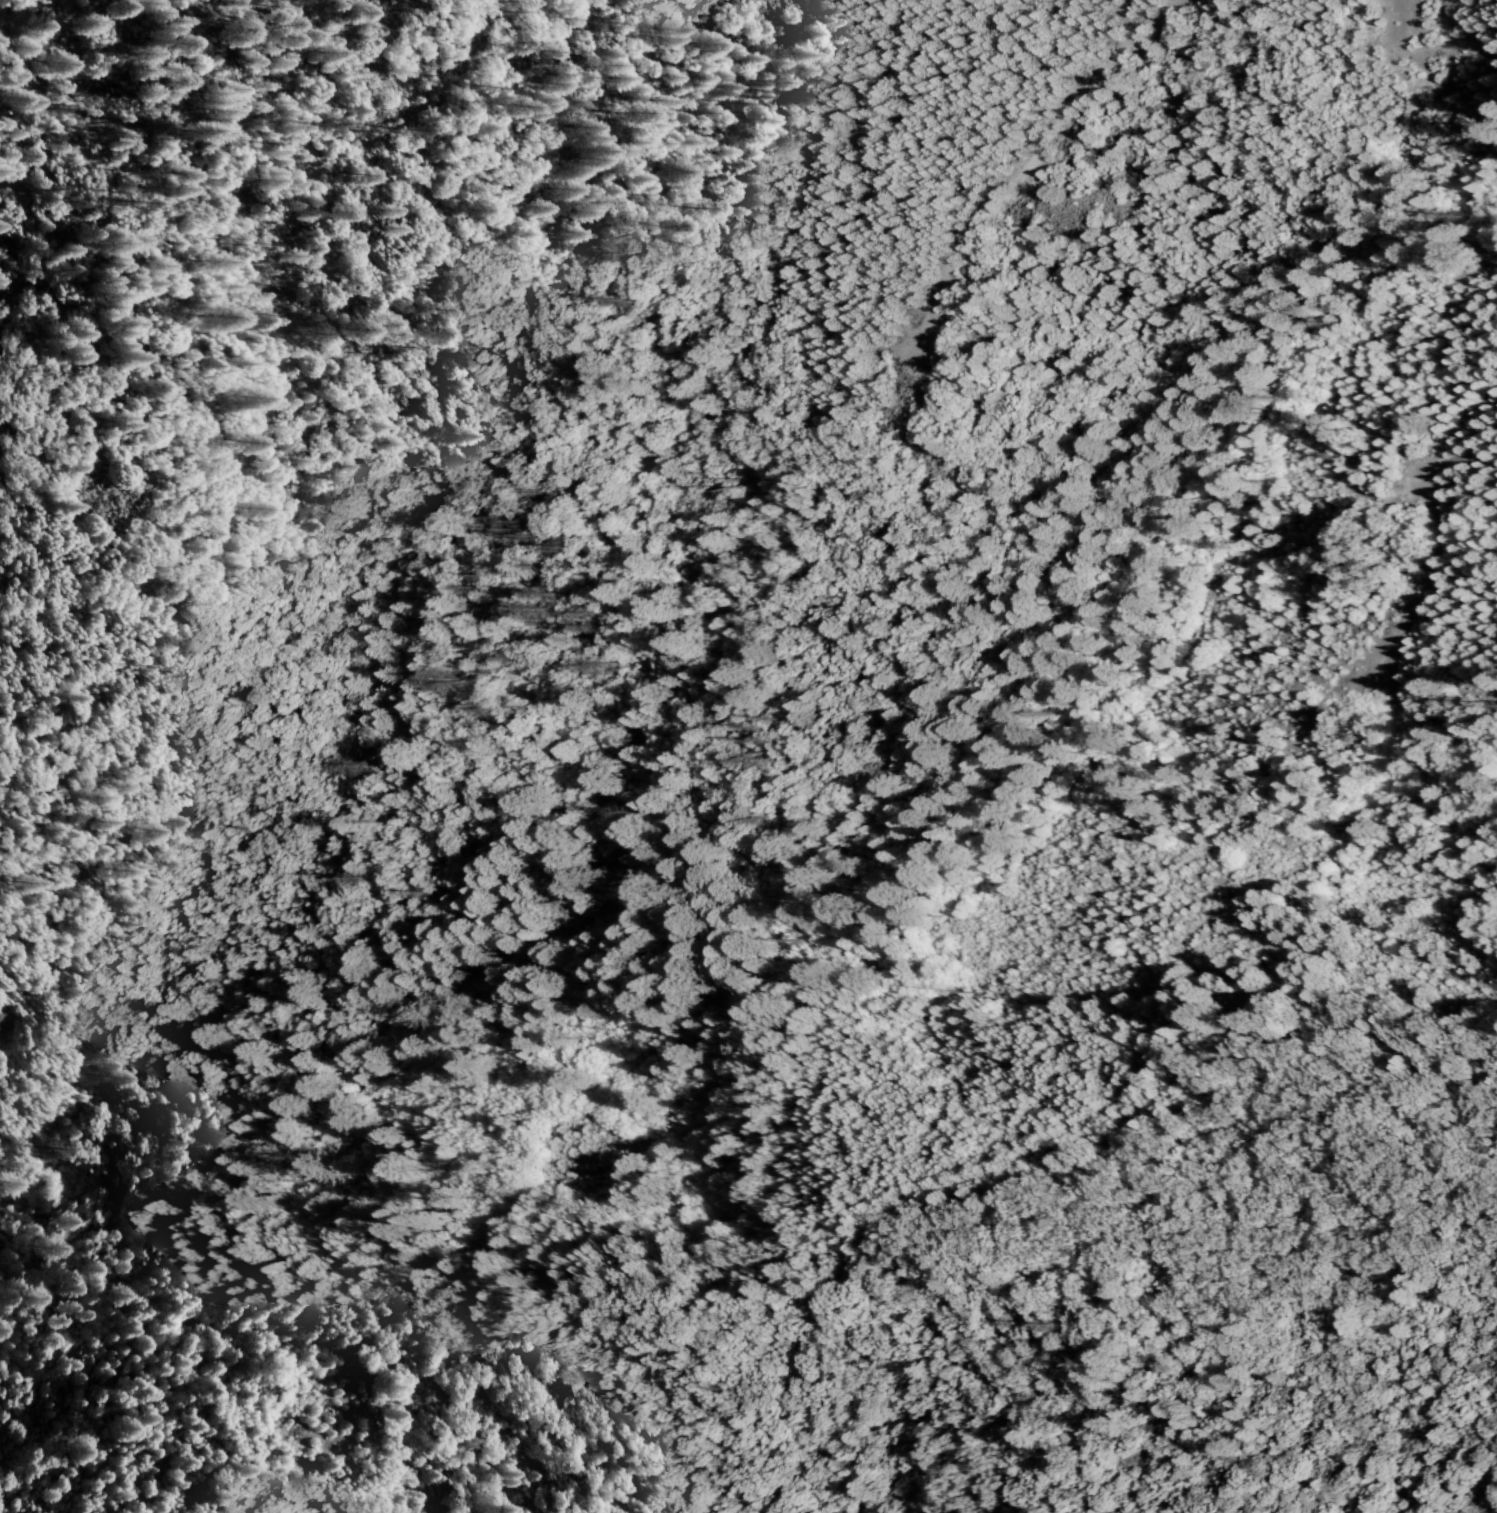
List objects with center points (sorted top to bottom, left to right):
road: (1437, 518)
park: (359, 1254)

